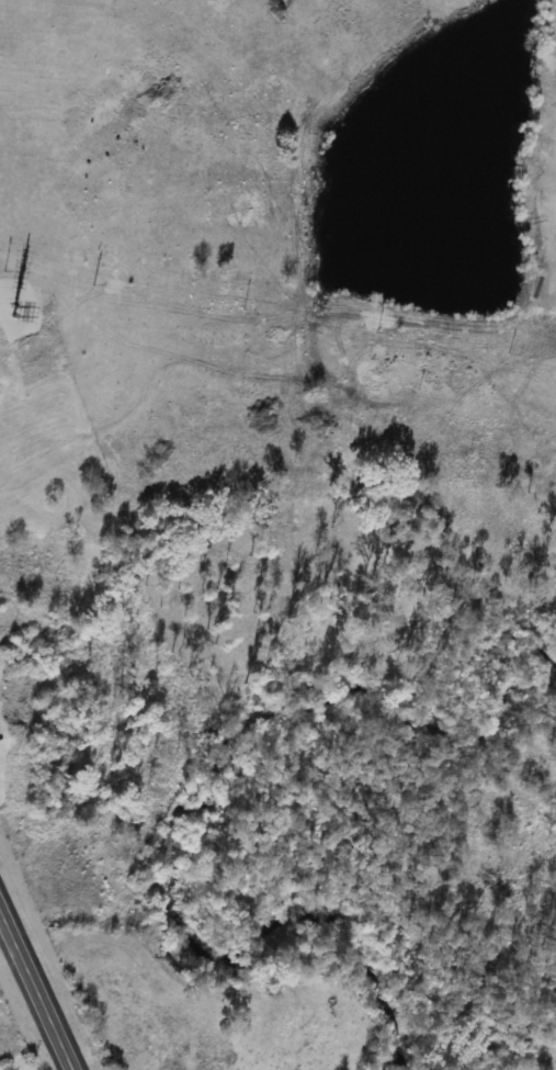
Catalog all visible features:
power tower: (11, 309)
road: (35, 988)

